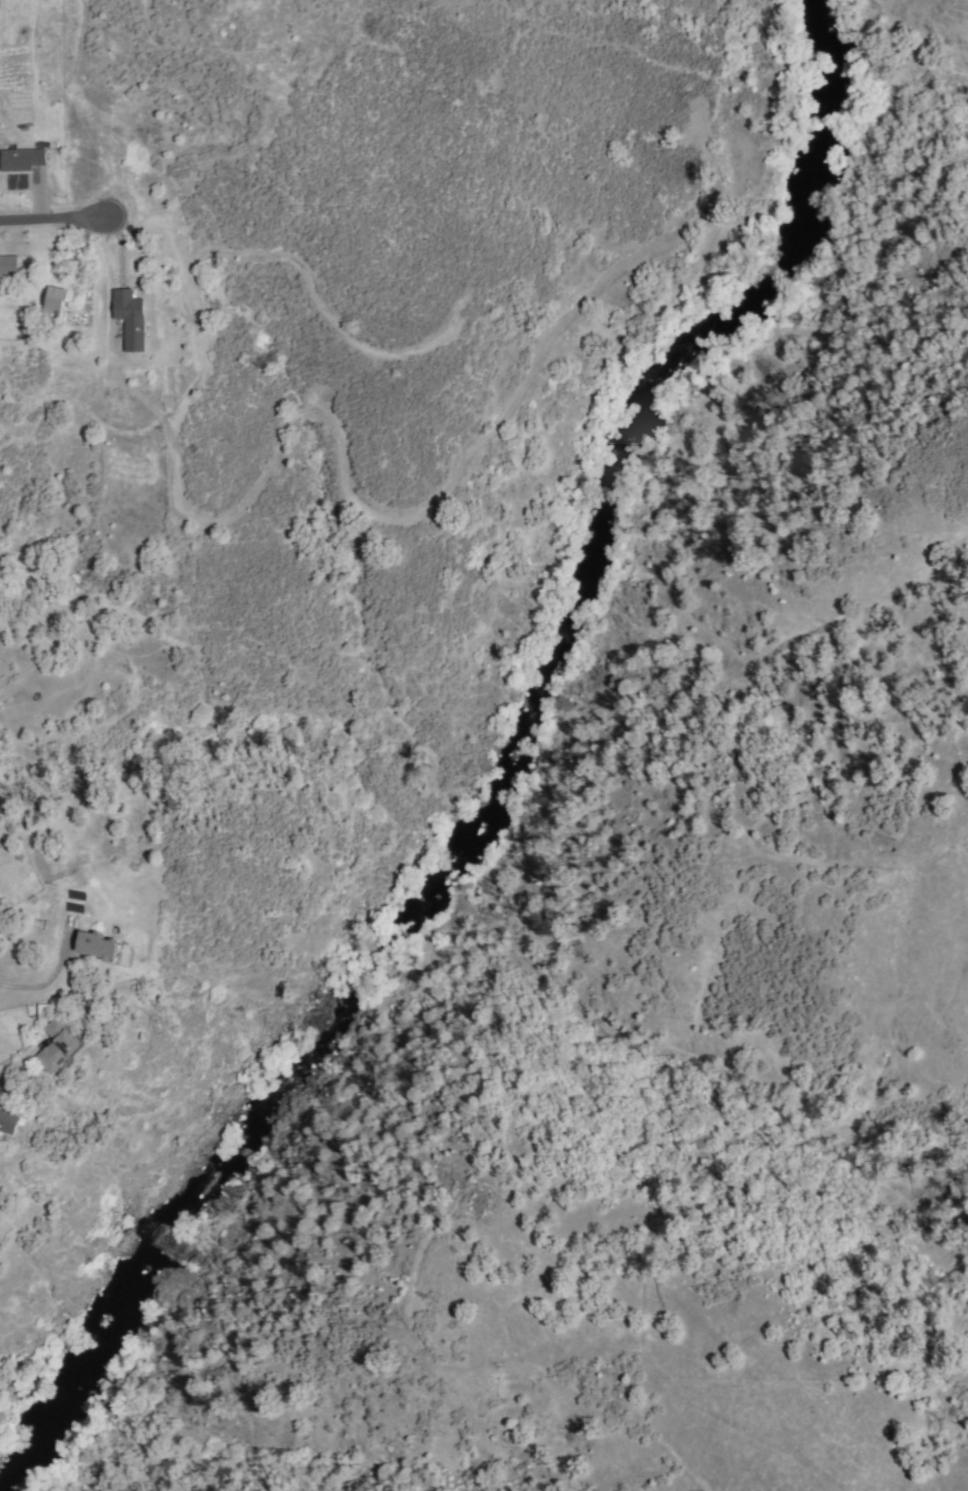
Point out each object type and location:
river: (807, 87)
building: (24, 159)
road: (47, 220)
building: (8, 265)
building: (0, 284)
building: (56, 307)
building: (130, 319)
river: (583, 523)
building: (100, 947)
river: (349, 972)
road: (47, 980)
building: (59, 1047)
building: (230, 1052)
river: (276, 1069)
building: (10, 1123)
river: (118, 1276)

